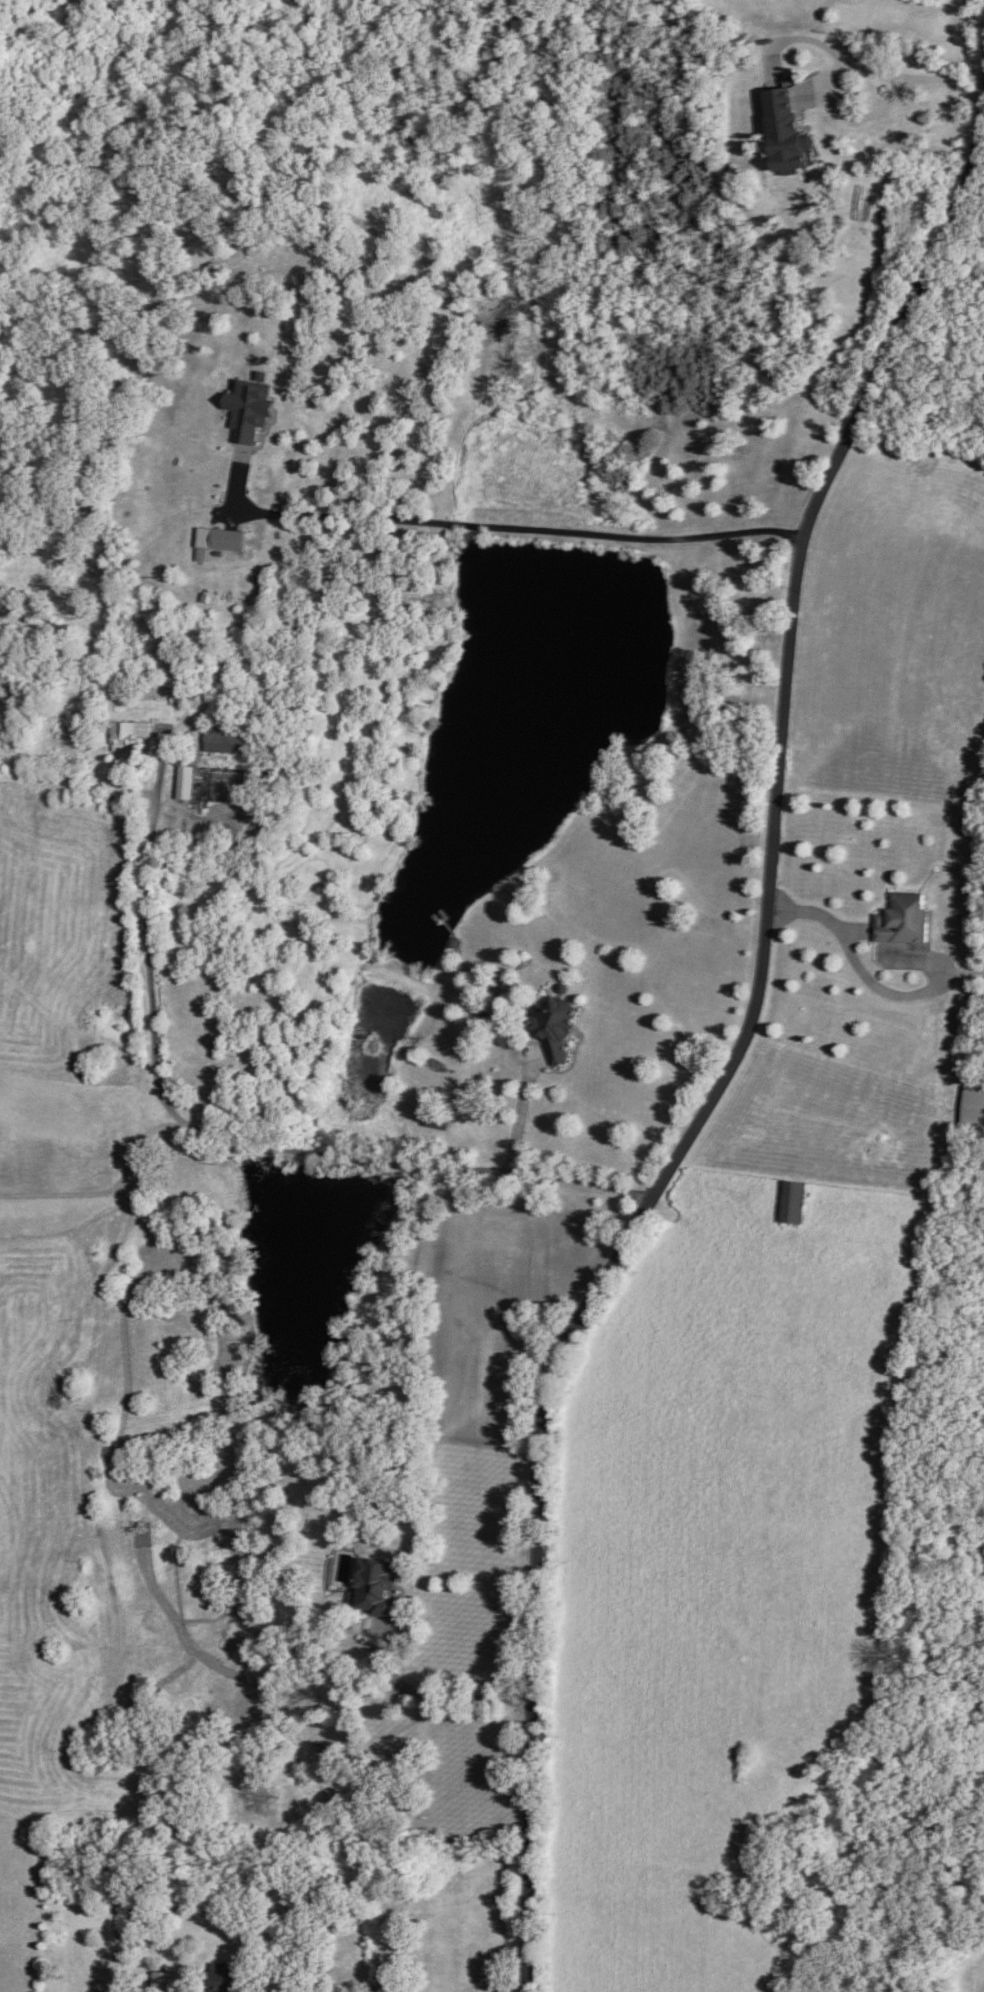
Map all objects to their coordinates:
building: (171, 670)
building: (120, 736)
building: (224, 740)
building: (206, 785)
building: (900, 919)
road: (876, 941)
building: (550, 1025)
road: (726, 1090)
road: (522, 1101)
building: (435, 1119)
road: (233, 1127)
road: (117, 1198)
building: (790, 1202)
building: (139, 1534)
building: (372, 1584)
road: (429, 1691)
building: (160, 1981)
building: (218, 1983)

